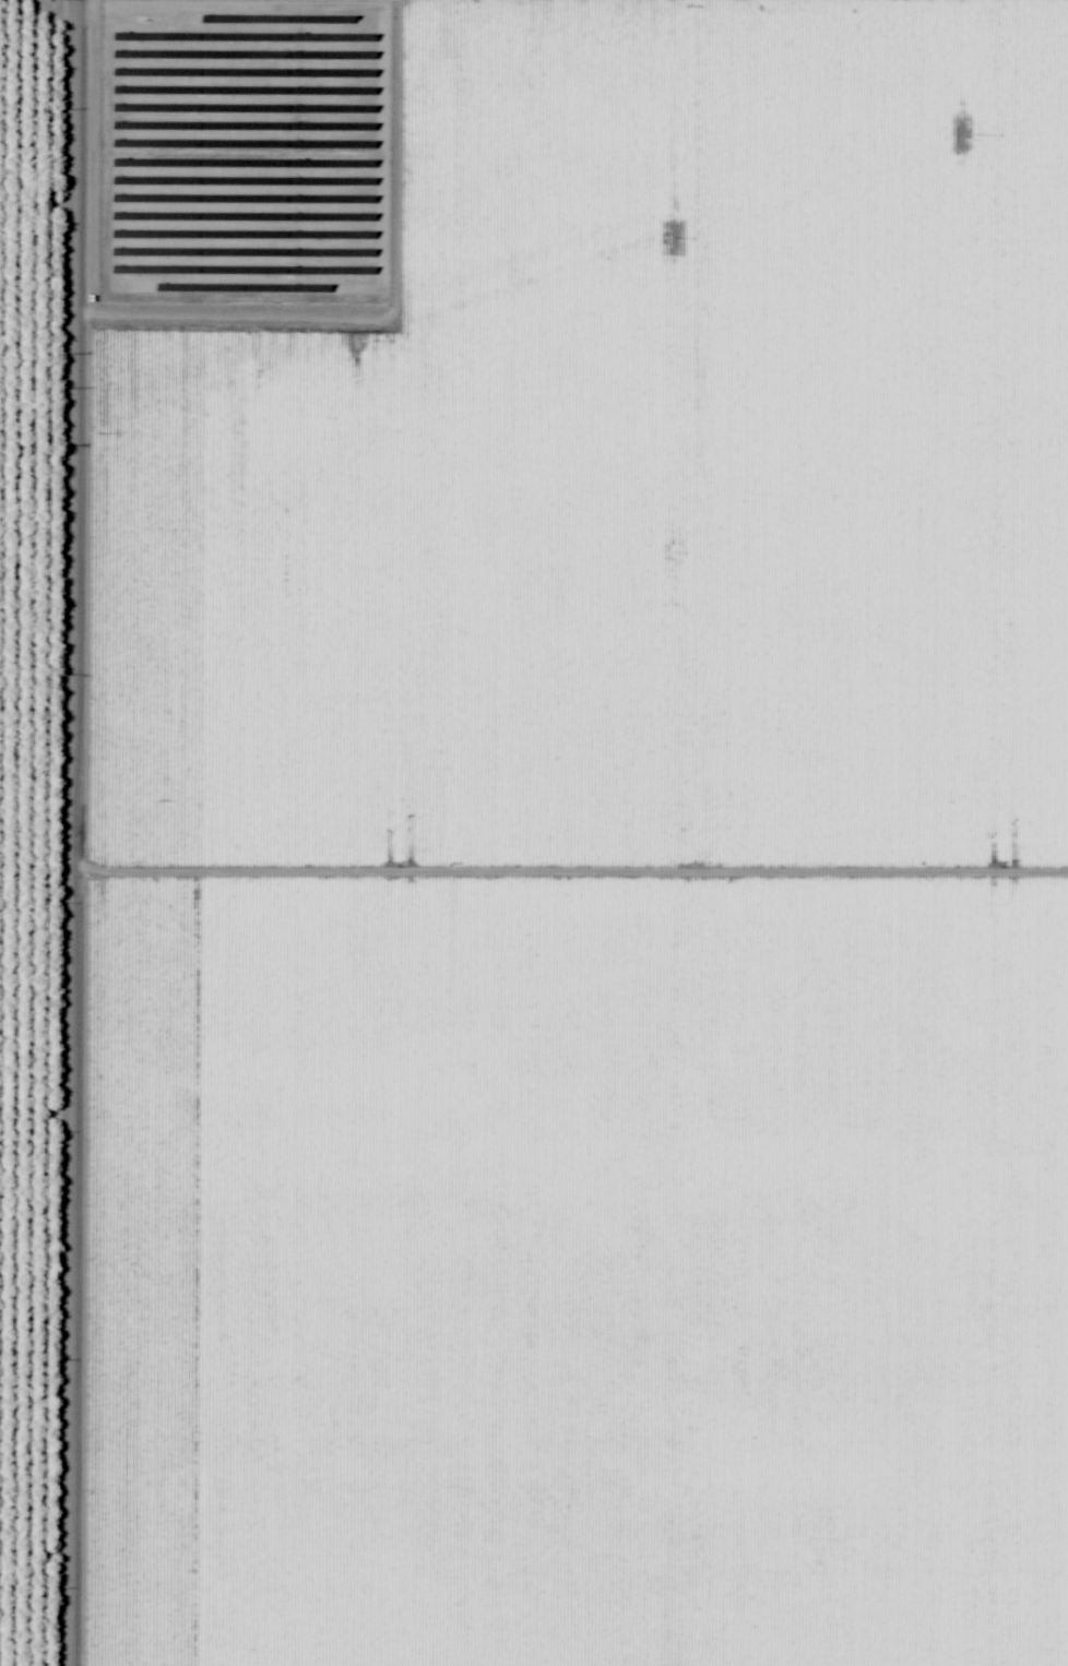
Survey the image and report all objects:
crop: (44, 825)
road: (61, 833)
crop: (578, 833)

